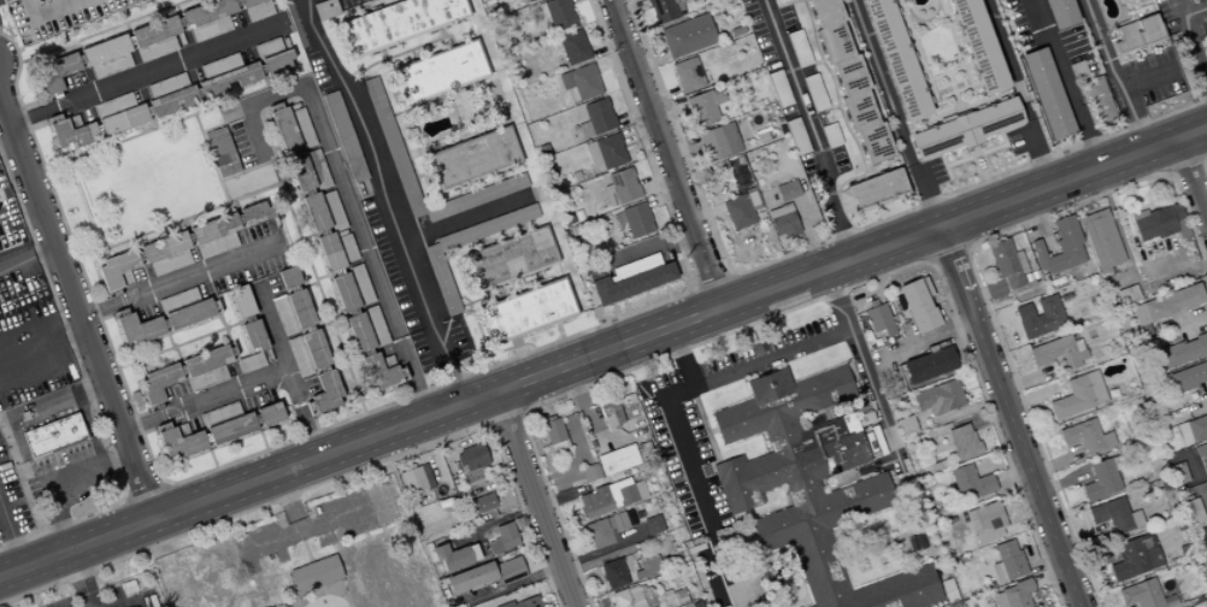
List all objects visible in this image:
building: (524, 0)
building: (531, 0)
building: (1205, 0)
building: (248, 2)
road: (628, 5)
building: (324, 8)
building: (666, 10)
building: (259, 11)
building: (207, 12)
building: (1062, 12)
building: (558, 13)
road: (1195, 13)
building: (54, 16)
parking lot: (54, 16)
road: (243, 17)
building: (1206, 20)
building: (398, 23)
building: (210, 29)
road: (102, 30)
road: (183, 30)
building: (737, 30)
building: (154, 31)
road: (441, 33)
building: (1140, 34)
building: (688, 36)
building: (1206, 42)
building: (982, 45)
road: (607, 46)
building: (267, 47)
road: (1194, 47)
road: (134, 48)
building: (157, 48)
building: (799, 48)
building: (105, 49)
building: (571, 49)
road: (962, 51)
road: (400, 53)
road: (382, 54)
road: (412, 54)
building: (899, 59)
road: (915, 59)
road: (612, 60)
building: (277, 61)
road: (650, 61)
building: (748, 61)
building: (741, 63)
road: (817, 63)
building: (735, 64)
building: (111, 65)
building: (220, 65)
road: (83, 67)
building: (1078, 69)
building: (57, 71)
road: (146, 71)
building: (442, 71)
building: (690, 75)
road: (958, 75)
road: (1112, 75)
road: (1148, 78)
building: (229, 79)
building: (850, 79)
road: (943, 79)
road: (835, 81)
building: (582, 82)
road: (1066, 82)
road: (195, 83)
building: (166, 86)
road: (834, 87)
building: (779, 88)
road: (1017, 92)
building: (816, 93)
building: (1049, 94)
road: (663, 96)
building: (1100, 100)
building: (172, 101)
road: (429, 101)
road: (0, 102)
road: (146, 102)
building: (113, 105)
building: (705, 106)
road: (832, 107)
road: (667, 110)
road: (4, 111)
road: (958, 111)
road: (893, 113)
road: (632, 114)
road: (844, 117)
road: (181, 118)
road: (383, 118)
building: (596, 118)
building: (123, 119)
road: (95, 120)
road: (370, 123)
road: (722, 123)
building: (302, 128)
road: (747, 128)
road: (811, 128)
building: (284, 129)
building: (967, 129)
road: (636, 130)
building: (782, 130)
building: (71, 132)
building: (412, 132)
building: (764, 135)
building: (831, 135)
building: (346, 136)
building: (797, 136)
building: (719, 142)
road: (681, 147)
building: (394, 148)
road: (860, 148)
road: (976, 148)
building: (219, 152)
building: (607, 152)
road: (664, 153)
building: (475, 159)
building: (738, 159)
road: (1202, 159)
road: (1185, 161)
road: (944, 164)
road: (253, 167)
building: (317, 169)
building: (724, 169)
road: (1205, 169)
road: (1168, 171)
building: (300, 172)
building: (736, 177)
road: (940, 177)
road: (1190, 181)
road: (658, 183)
road: (282, 184)
road: (219, 185)
building: (624, 185)
road: (838, 185)
building: (788, 190)
building: (873, 191)
building: (476, 196)
road: (388, 198)
building: (2, 199)
road: (663, 199)
road: (348, 205)
building: (332, 211)
building: (741, 211)
building: (314, 212)
road: (705, 212)
road: (19, 213)
building: (255, 213)
building: (758, 216)
road: (467, 217)
road: (178, 219)
building: (637, 220)
building: (783, 220)
building: (1180, 220)
road: (1041, 223)
building: (1154, 223)
road: (241, 225)
building: (487, 228)
building: (214, 229)
road: (806, 235)
road: (306, 236)
road: (834, 237)
road: (1119, 237)
building: (8, 240)
building: (1102, 240)
building: (217, 246)
building: (165, 247)
road: (646, 247)
building: (1061, 247)
building: (347, 248)
building: (330, 252)
building: (511, 259)
road: (28, 261)
building: (1020, 261)
building: (170, 263)
building: (1006, 263)
building: (637, 266)
road: (983, 267)
building: (117, 271)
road: (1176, 271)
road: (731, 272)
road: (881, 276)
building: (289, 277)
road: (320, 277)
road: (181, 278)
building: (441, 279)
road: (977, 282)
building: (629, 283)
road: (712, 283)
road: (307, 284)
building: (360, 284)
road: (690, 289)
road: (504, 290)
road: (666, 291)
building: (345, 293)
building: (1127, 295)
road: (646, 299)
road: (938, 299)
road: (1000, 299)
building: (178, 300)
road: (740, 300)
building: (1062, 301)
building: (242, 302)
road: (801, 303)
building: (1168, 305)
road: (324, 306)
road: (625, 306)
building: (919, 306)
building: (300, 310)
building: (526, 311)
road: (614, 311)
building: (1024, 312)
building: (189, 314)
road: (463, 314)
road: (702, 314)
building: (283, 316)
building: (1068, 317)
building: (878, 318)
building: (1043, 318)
road: (81, 320)
road: (1183, 324)
building: (375, 325)
road: (223, 326)
building: (136, 328)
road: (558, 331)
building: (360, 332)
building: (884, 332)
building: (254, 335)
road: (931, 338)
road: (190, 340)
building: (885, 341)
road: (42, 344)
building: (1078, 344)
road: (172, 346)
road: (516, 347)
building: (316, 349)
road: (602, 350)
road: (496, 352)
building: (1184, 352)
building: (1059, 353)
building: (299, 356)
road: (679, 356)
building: (207, 360)
building: (249, 363)
building: (930, 365)
road: (284, 369)
road: (864, 369)
building: (382, 371)
building: (1188, 377)
building: (206, 378)
road: (1024, 381)
building: (159, 383)
road: (87, 385)
road: (971, 388)
road: (1205, 389)
building: (326, 391)
building: (1079, 395)
road: (1029, 396)
building: (940, 397)
road: (204, 400)
road: (42, 406)
road: (670, 409)
road: (523, 411)
road: (959, 411)
building: (219, 413)
building: (270, 413)
building: (611, 413)
road: (504, 414)
road: (83, 416)
road: (987, 416)
road: (1007, 417)
building: (865, 418)
road: (343, 420)
road: (589, 420)
road: (487, 425)
building: (907, 425)
building: (1196, 426)
building: (231, 428)
road: (707, 429)
building: (553, 430)
road: (712, 430)
building: (1183, 434)
building: (53, 435)
building: (1083, 436)
building: (1107, 438)
building: (178, 440)
road: (263, 440)
building: (964, 442)
building: (559, 444)
building: (1201, 452)
building: (473, 456)
road: (426, 458)
road: (212, 459)
building: (459, 459)
building: (618, 459)
road: (1189, 459)
road: (571, 460)
road: (1053, 461)
building: (1114, 462)
building: (408, 466)
building: (590, 472)
building: (1178, 472)
road: (1011, 475)
road: (59, 476)
building: (472, 476)
road: (334, 478)
building: (412, 479)
building: (640, 479)
building: (1100, 479)
road: (499, 481)
building: (970, 482)
road: (1061, 482)
building: (87, 483)
road: (163, 484)
building: (811, 485)
road: (1199, 489)
road: (145, 494)
building: (626, 494)
building: (463, 495)
road: (125, 497)
road: (559, 497)
road: (534, 499)
building: (595, 501)
road: (288, 502)
building: (482, 503)
road: (170, 512)
building: (1109, 514)
building: (1134, 518)
building: (618, 521)
building: (987, 521)
building: (1196, 521)
road: (491, 523)
road: (1024, 523)
road: (1085, 523)
road: (137, 524)
building: (653, 524)
building: (1179, 524)
road: (317, 526)
building: (599, 534)
building: (504, 537)
road: (1082, 538)
building: (1146, 538)
road: (10, 540)
road: (899, 540)
road: (737, 543)
road: (888, 543)
building: (914, 543)
road: (882, 547)
road: (602, 549)
road: (876, 549)
building: (1006, 549)
building: (1152, 555)
building: (452, 556)
building: (1127, 559)
road: (1205, 559)
road: (1089, 560)
road: (597, 561)
building: (1014, 566)
building: (648, 567)
building: (510, 570)
building: (999, 572)
building: (316, 573)
building: (613, 573)
road: (86, 577)
building: (471, 577)
road: (1048, 578)
road: (73, 579)
road: (512, 584)
building: (642, 585)
road: (289, 588)
building: (947, 591)
road: (324, 593)
building: (1018, 593)
building: (1140, 594)
road: (520, 595)
building: (634, 596)
building: (666, 597)
building: (679, 597)
building: (620, 599)
building: (648, 599)
road: (259, 601)
building: (1166, 601)
building: (529, 602)
road: (130, 603)
building: (696, 603)
building: (506, 605)
building: (954, 606)
road: (1129, 606)

